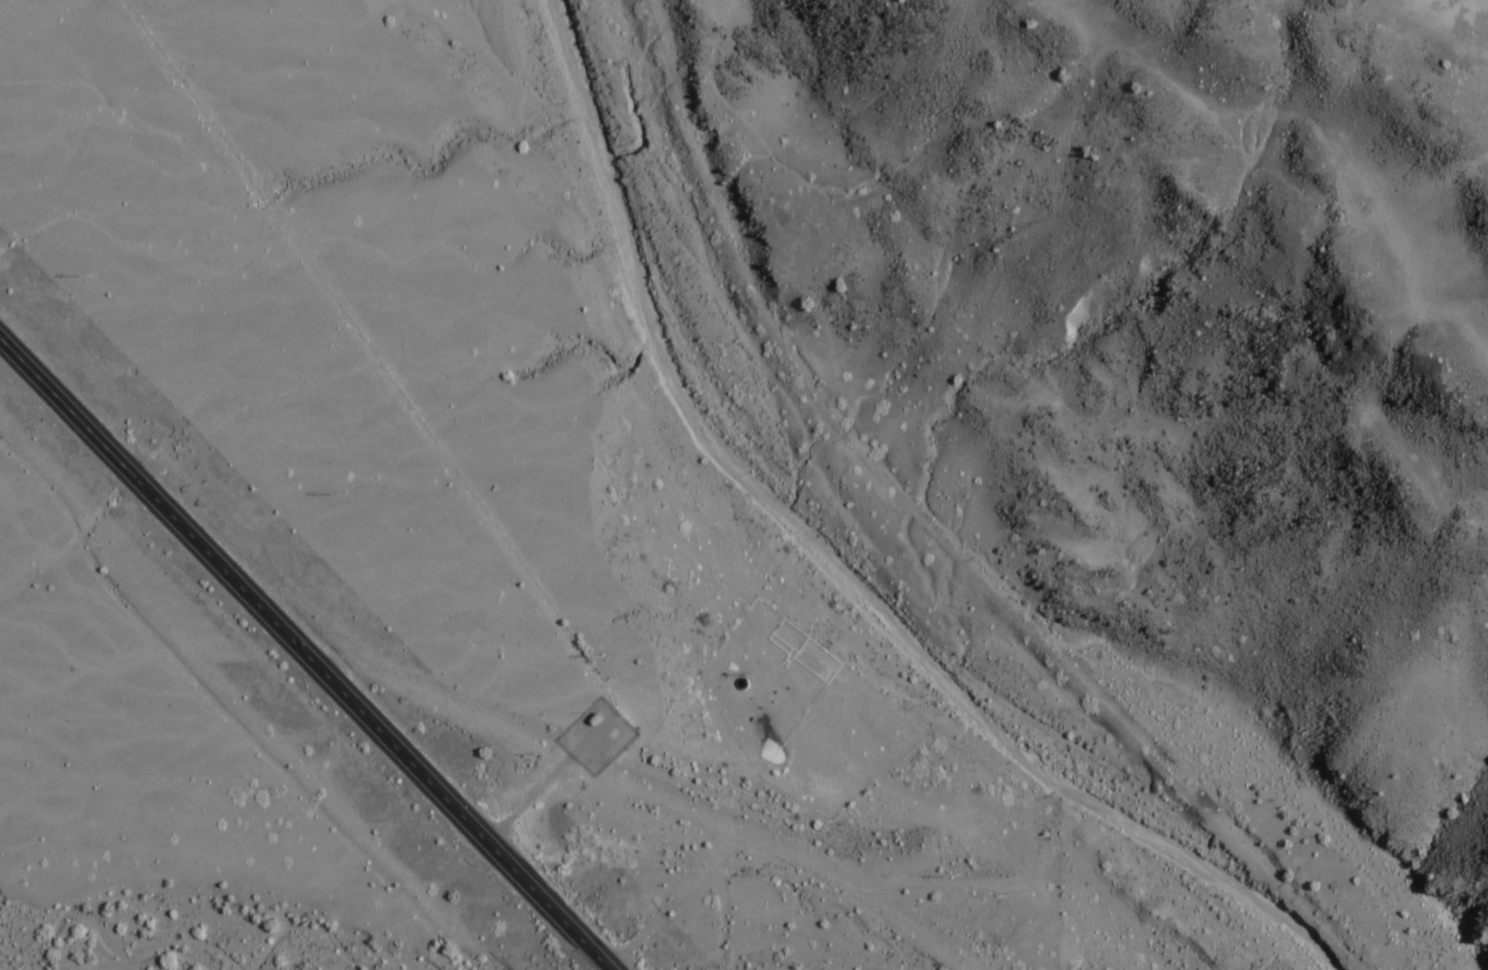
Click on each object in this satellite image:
road: (302, 652)
road: (543, 781)
road: (895, 882)
road: (631, 939)

